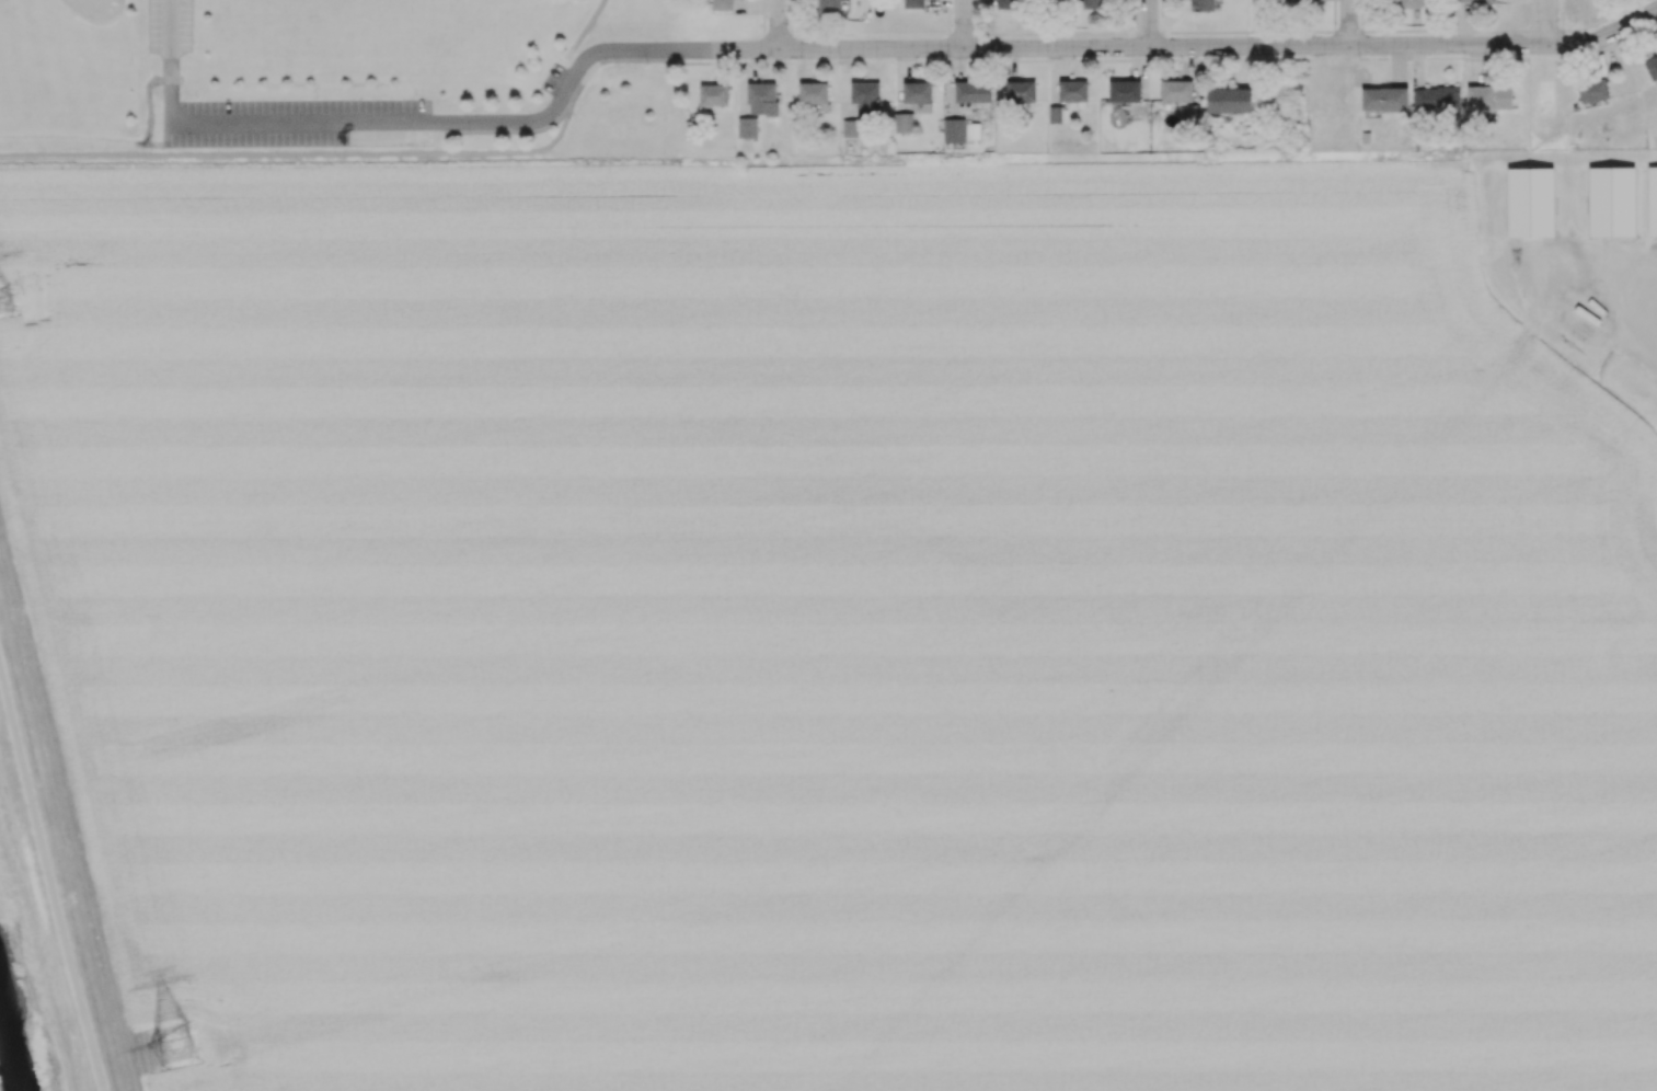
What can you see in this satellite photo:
building: (1291, 0)
building: (1475, 0)
building: (913, 3)
building: (1006, 3)
building: (1092, 3)
building: (1408, 3)
building: (722, 4)
building: (1201, 4)
building: (829, 5)
park: (357, 14)
road: (1546, 22)
park: (72, 24)
road: (1349, 24)
parking lot: (170, 25)
road: (775, 25)
road: (966, 25)
road: (1152, 25)
road: (591, 31)
road: (1610, 45)
road: (1220, 50)
road: (179, 59)
road: (699, 60)
road: (580, 64)
road: (803, 67)
building: (1652, 67)
park: (338, 78)
parking lot: (556, 79)
road: (746, 82)
building: (1072, 90)
building: (1124, 90)
building: (1592, 90)
building: (917, 91)
building: (971, 91)
building: (1176, 91)
building: (813, 92)
building: (1022, 93)
building: (714, 94)
building: (865, 96)
building: (762, 97)
building: (1436, 97)
building: (1488, 97)
building: (1384, 99)
building: (1229, 100)
building: (1055, 114)
parking lot: (299, 122)
road: (494, 122)
building: (902, 122)
building: (747, 127)
building: (851, 127)
building: (954, 129)
building: (973, 131)
road: (319, 152)
building: (1611, 200)
building: (1652, 200)
building: (1530, 202)
road: (1649, 307)
crop: (841, 624)
road: (49, 874)
river: (13, 1040)
power tower: (175, 1047)

